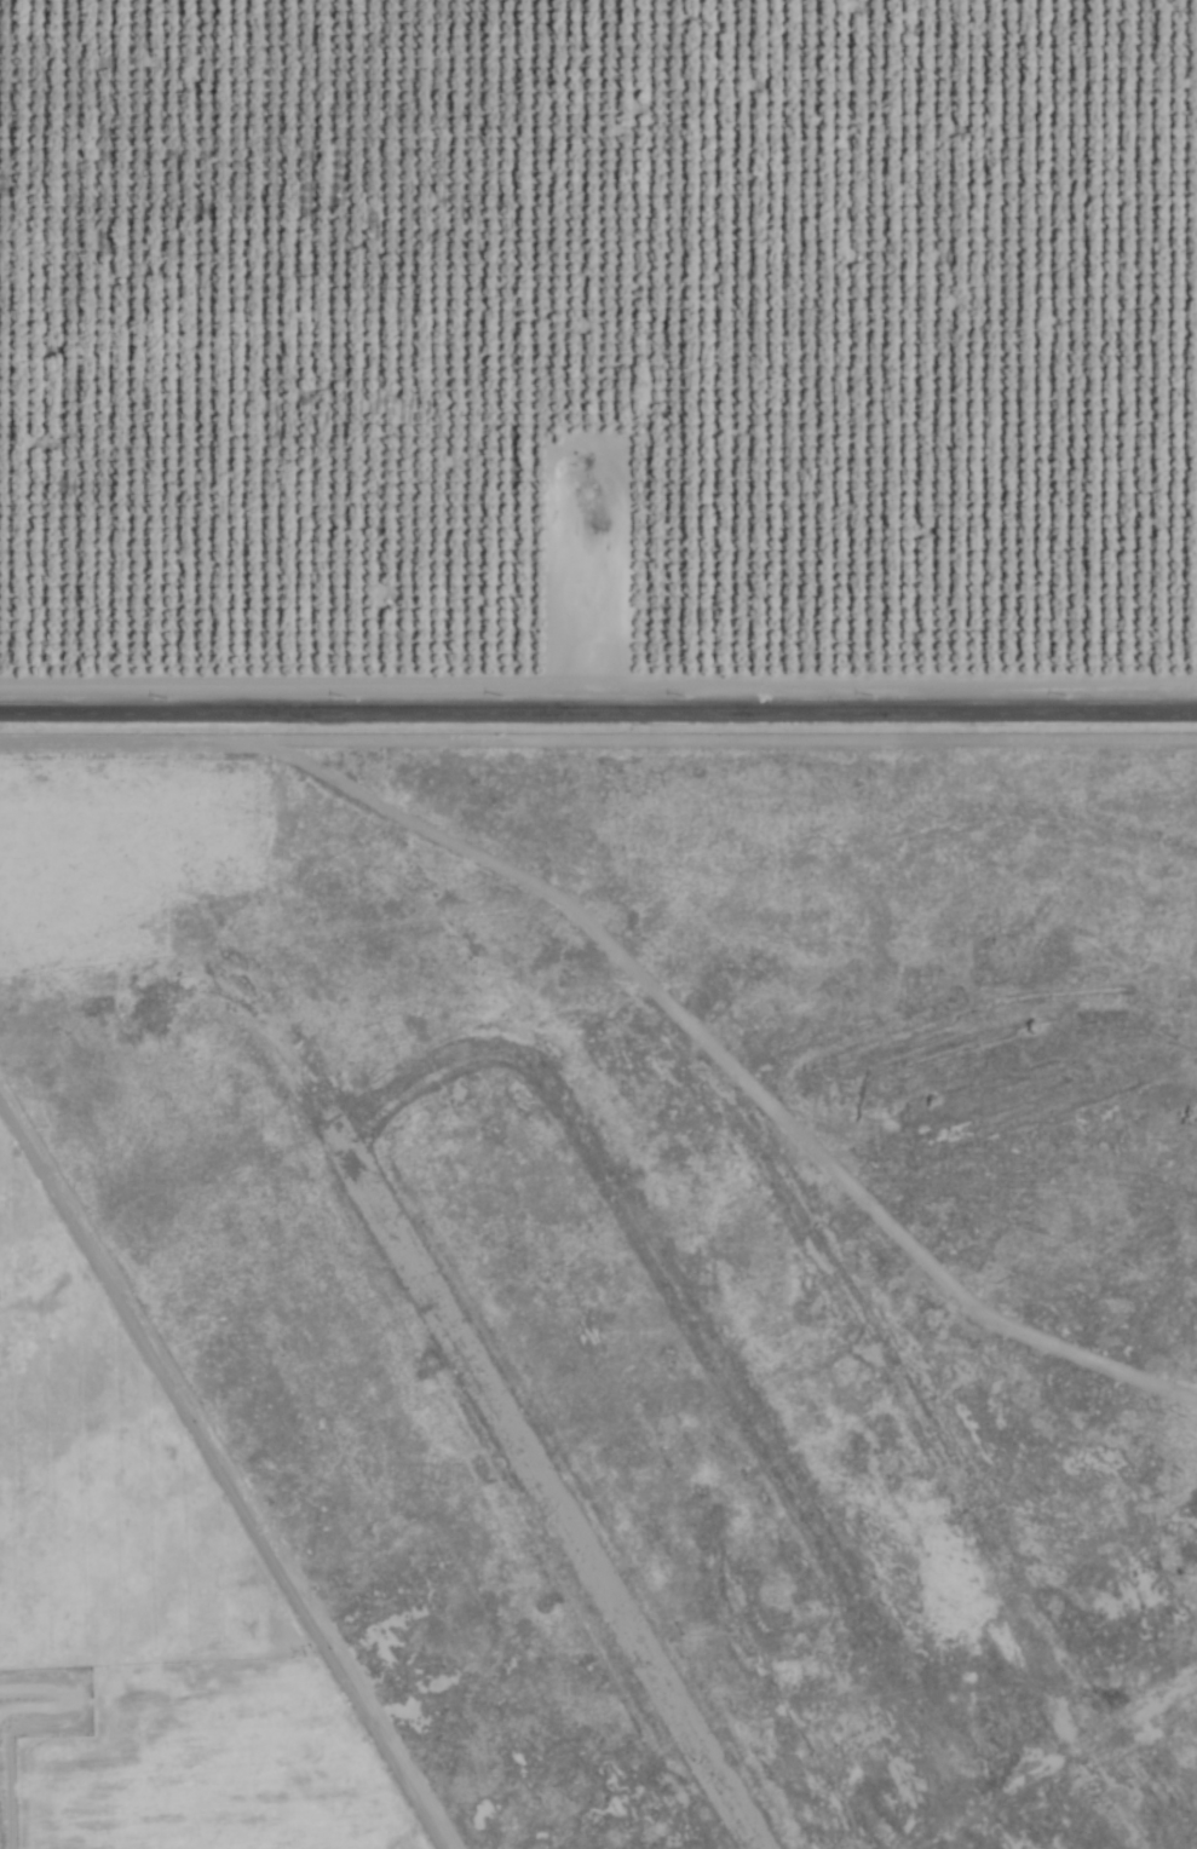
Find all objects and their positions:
road: (598, 707)
road: (218, 1476)
building: (1086, 1811)

